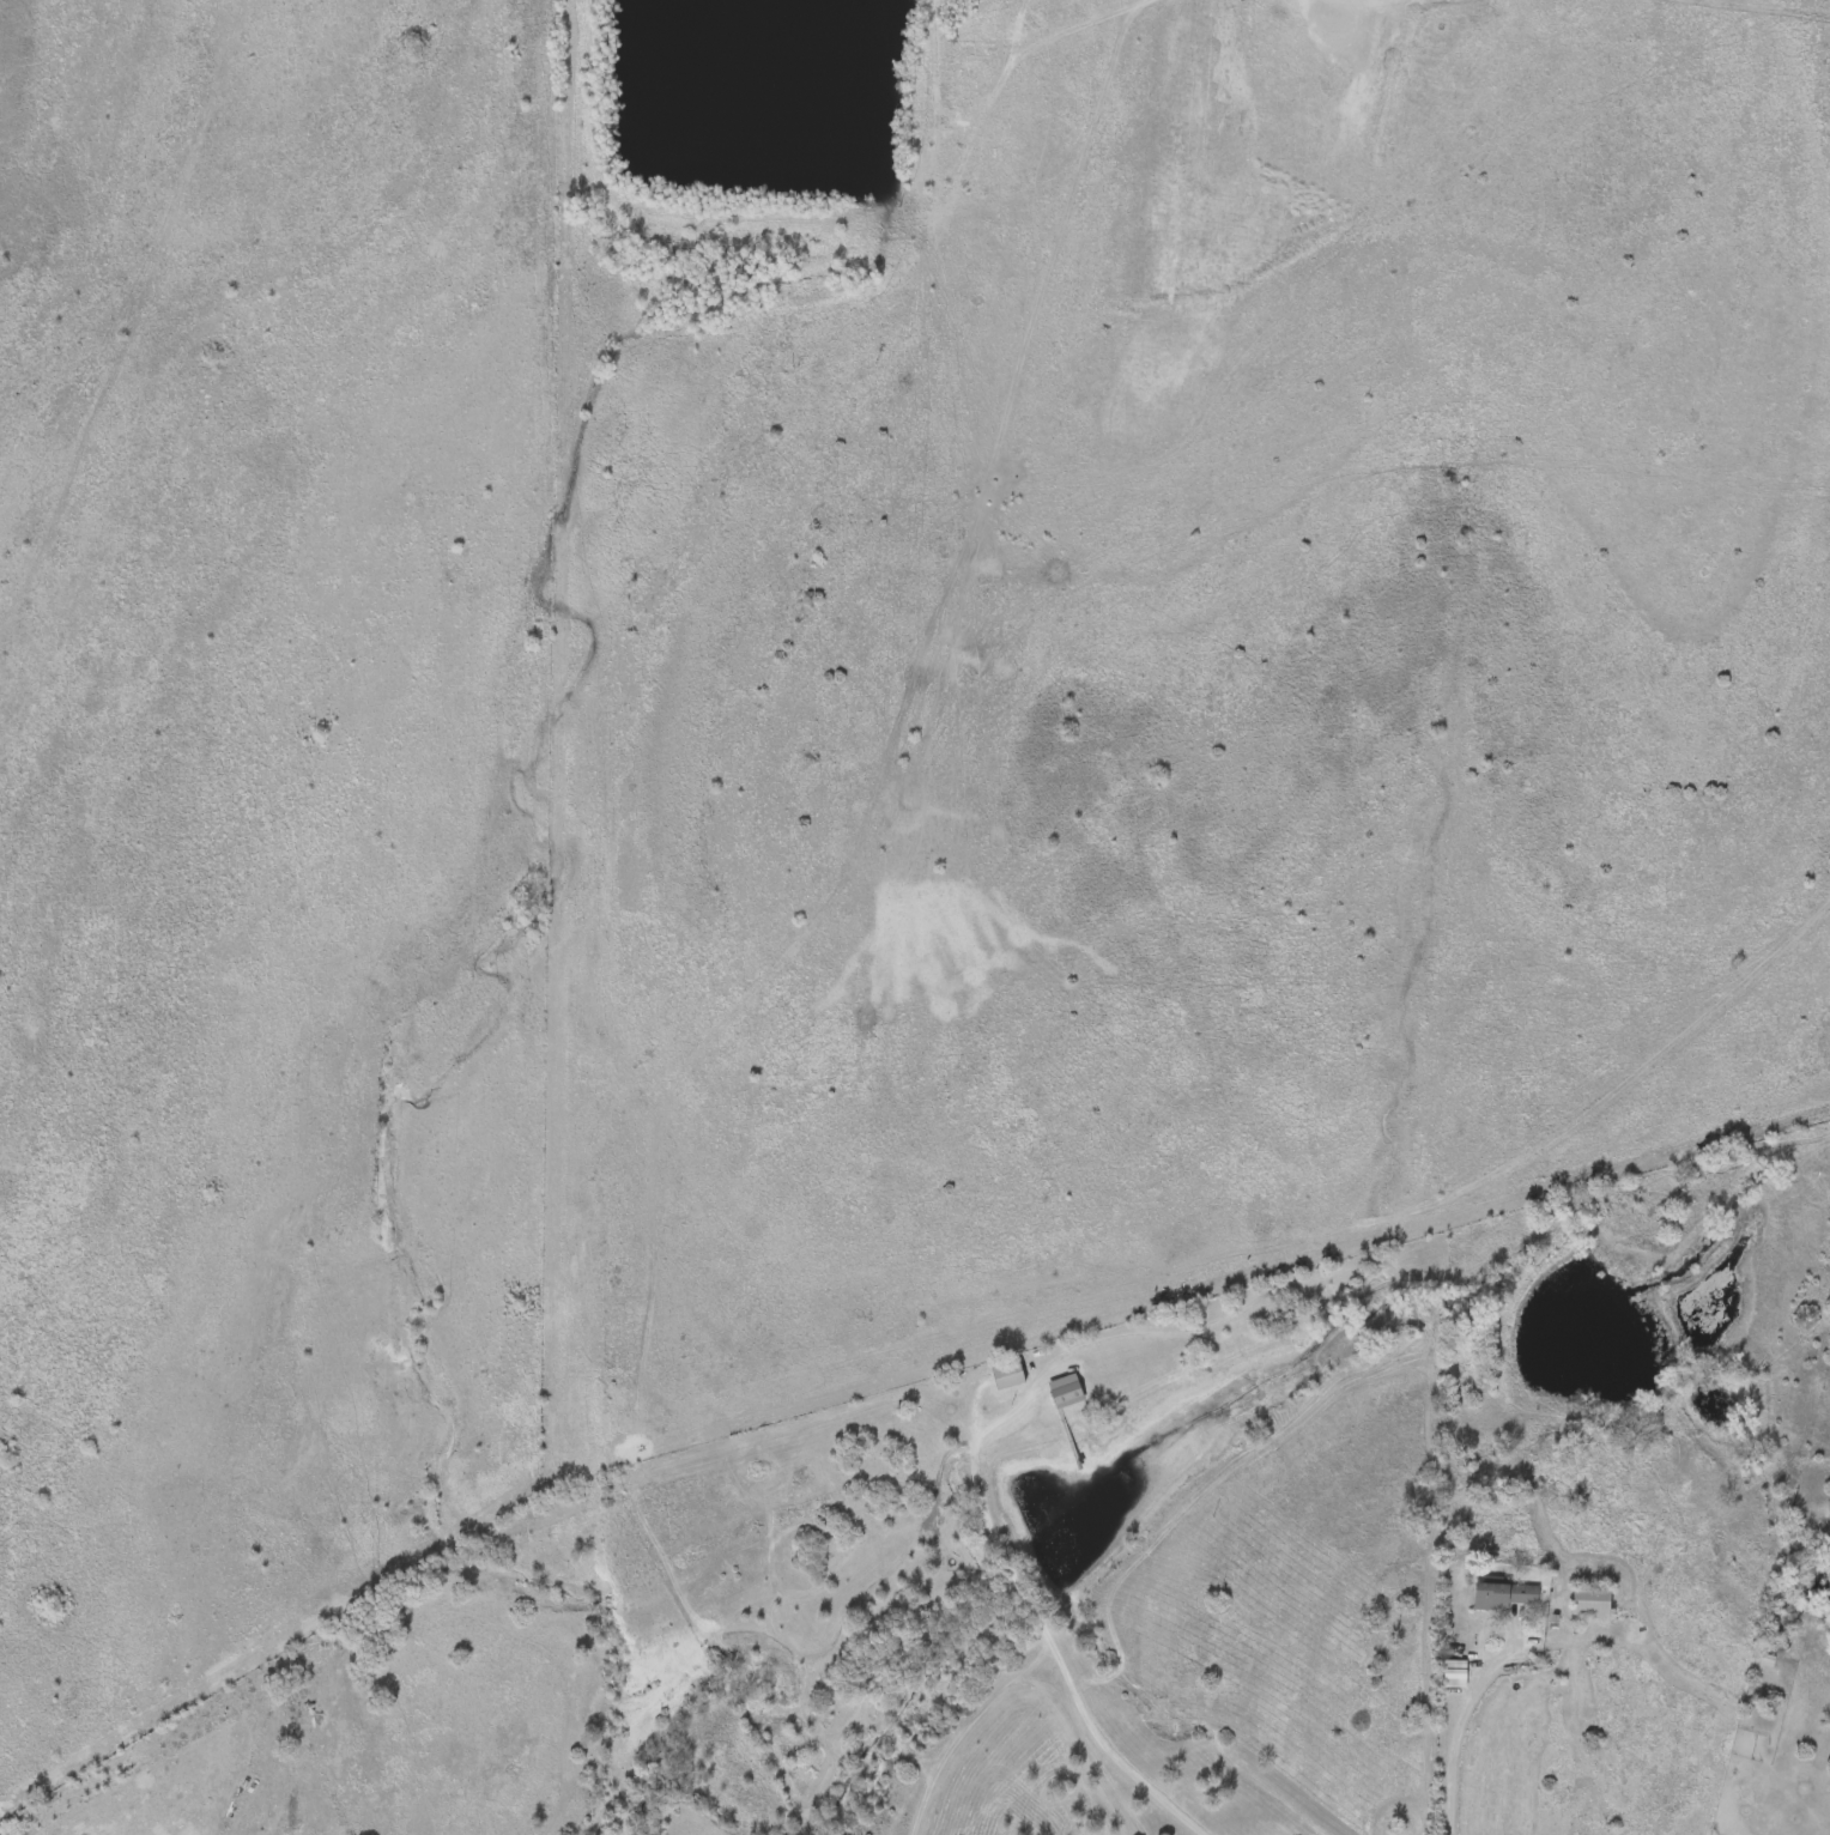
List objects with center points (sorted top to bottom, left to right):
building: (1007, 1374)
building: (1065, 1389)
building: (1504, 1593)
building: (1592, 1599)
road: (1052, 1649)
road: (1455, 1730)

